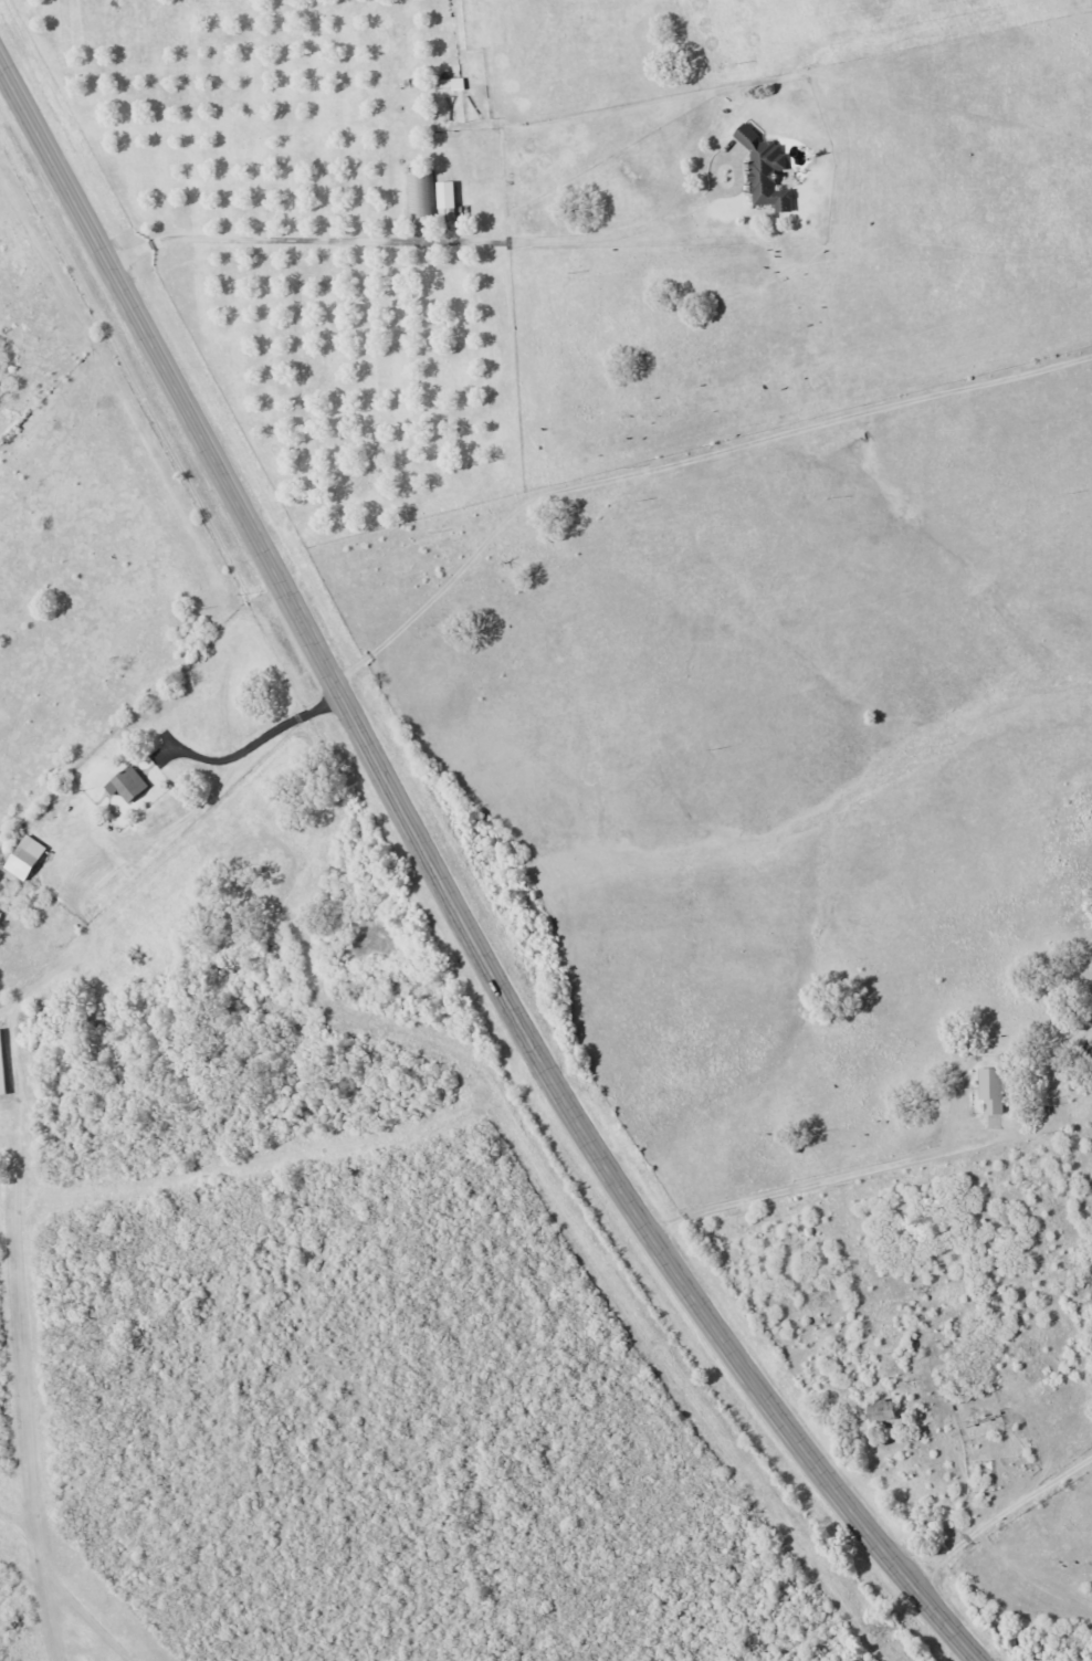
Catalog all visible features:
building: (764, 172)
building: (443, 196)
building: (418, 198)
road: (631, 759)
building: (125, 785)
building: (22, 858)
road: (447, 891)
building: (0, 1080)
building: (989, 1091)
road: (897, 1314)
building: (880, 1412)
road: (759, 1592)

